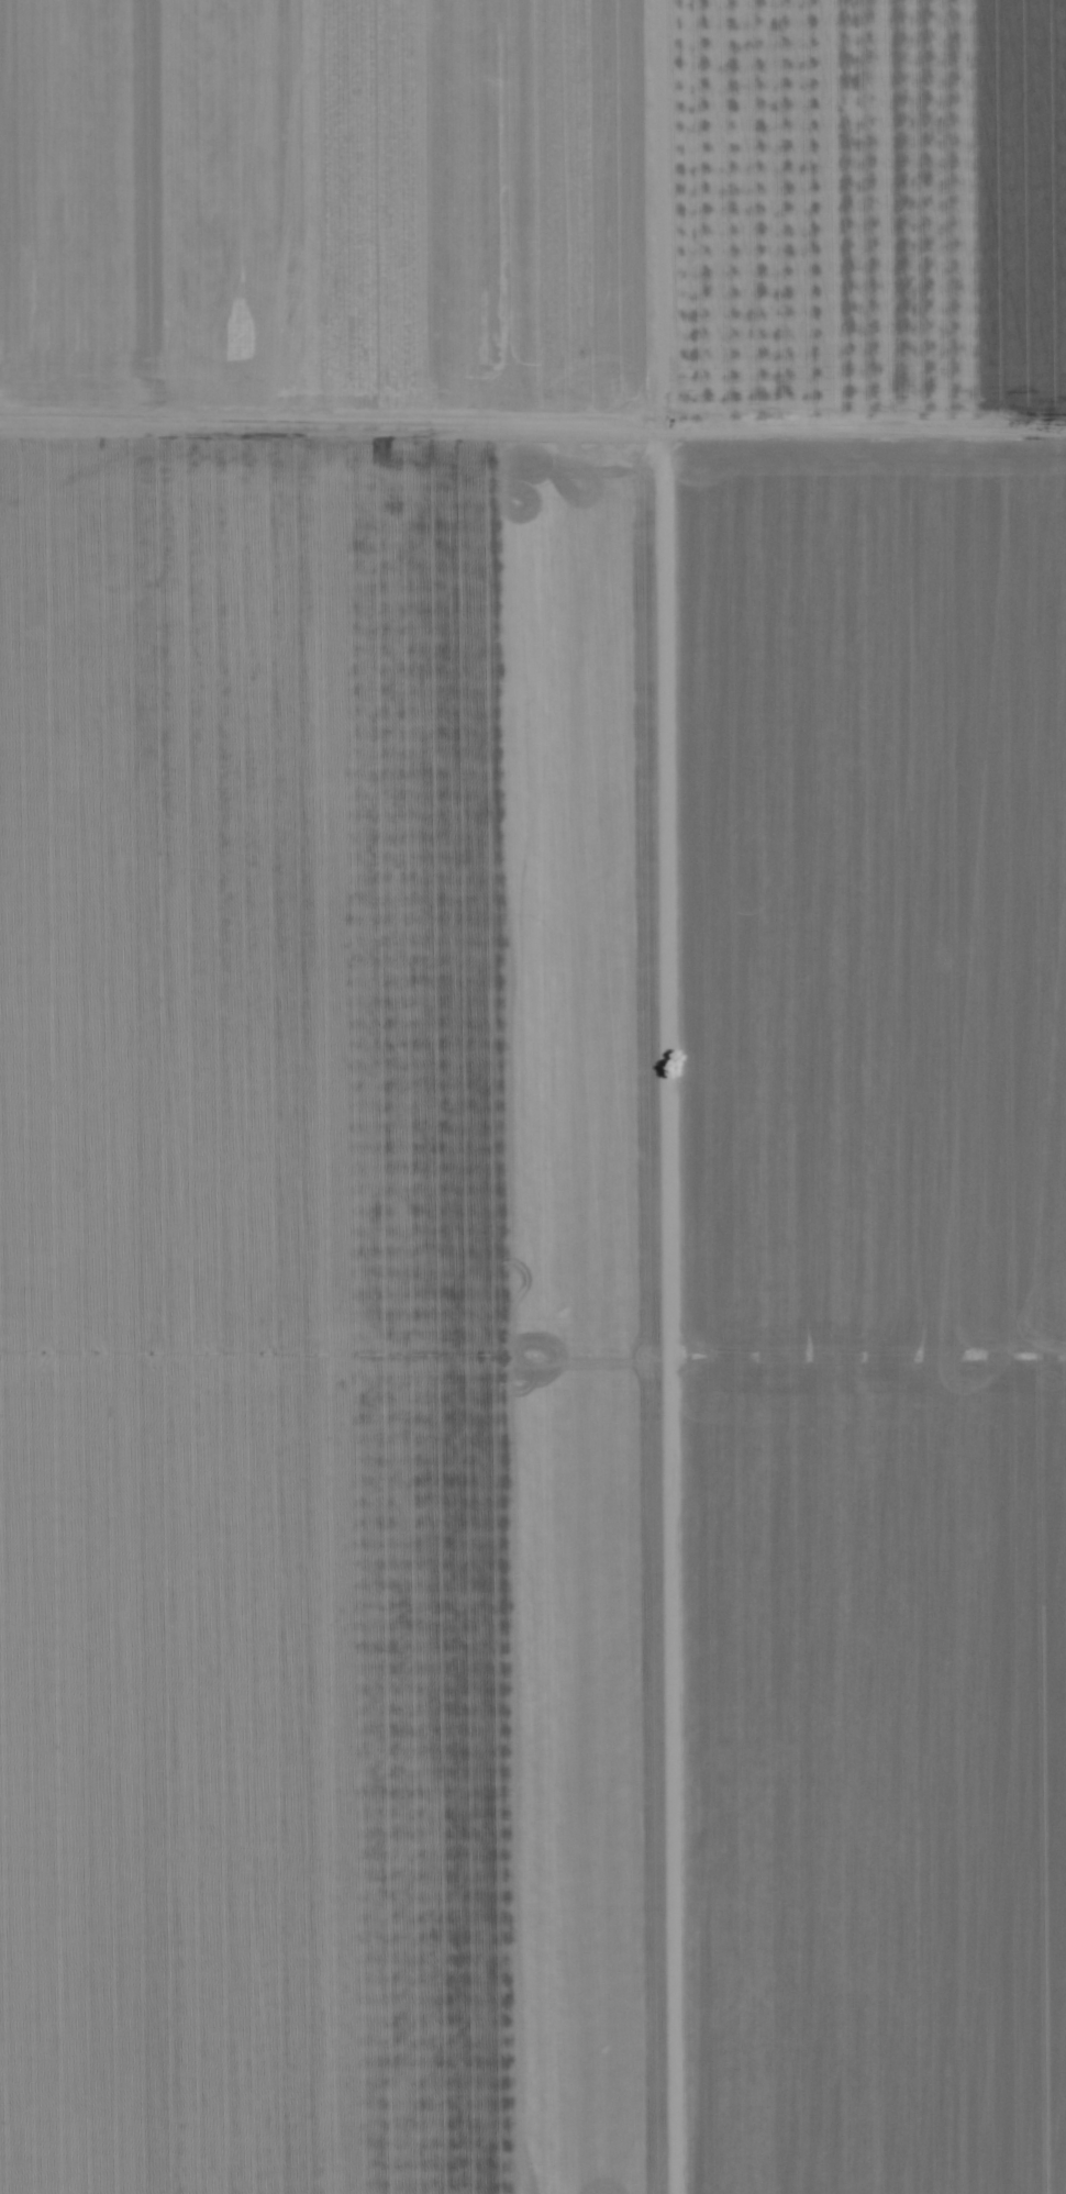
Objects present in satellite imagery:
crop: (533, 1096)

